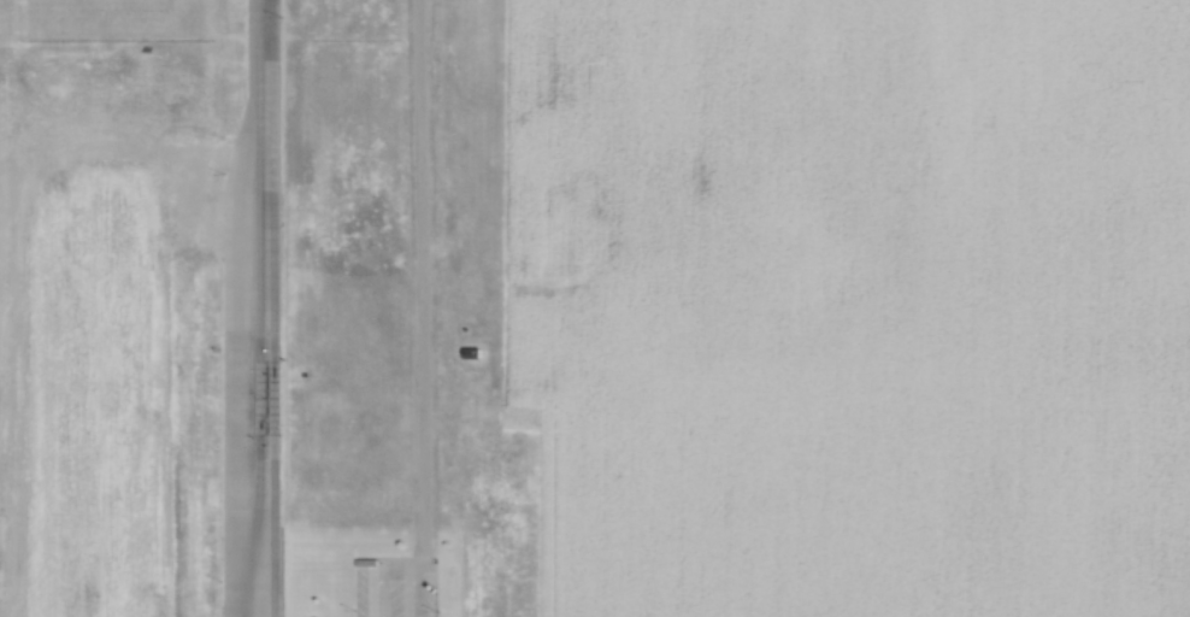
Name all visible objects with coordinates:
road: (266, 308)
road: (424, 308)
building: (470, 353)

